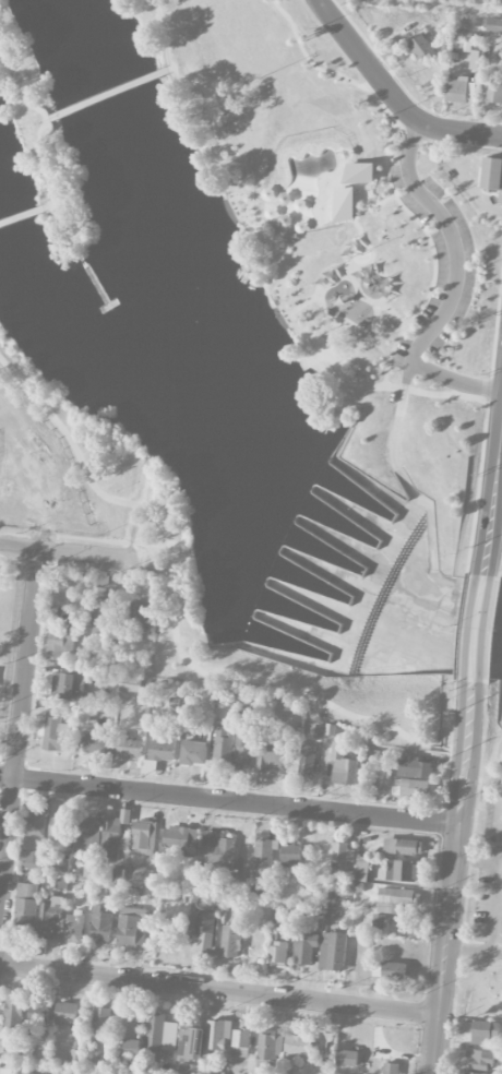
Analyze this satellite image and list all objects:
road: (441, 5)
building: (494, 25)
building: (421, 48)
building: (475, 59)
road: (312, 62)
road: (167, 68)
building: (459, 89)
road: (107, 92)
building: (494, 93)
road: (391, 96)
road: (49, 117)
road: (40, 142)
road: (398, 171)
building: (494, 174)
building: (344, 200)
road: (50, 205)
road: (22, 216)
road: (432, 244)
road: (277, 249)
parking lot: (457, 268)
pier: (94, 276)
road: (358, 293)
road: (422, 341)
park: (252, 343)
road: (455, 381)
road: (500, 479)
road: (493, 504)
road: (108, 539)
dam: (280, 549)
road: (67, 552)
building: (103, 582)
road: (176, 597)
building: (345, 597)
park: (482, 608)
building: (140, 614)
building: (103, 616)
road: (480, 629)
building: (60, 643)
road: (25, 664)
building: (132, 684)
building: (69, 685)
building: (186, 707)
building: (84, 715)
building: (56, 732)
road: (443, 737)
building: (92, 743)
building: (163, 743)
road: (426, 744)
building: (222, 745)
building: (129, 747)
building: (244, 750)
building: (270, 751)
building: (193, 752)
building: (306, 761)
building: (343, 766)
building: (148, 767)
building: (414, 767)
road: (7, 777)
road: (488, 778)
building: (501, 783)
building: (415, 788)
road: (236, 801)
road: (461, 811)
building: (57, 830)
building: (34, 831)
building: (88, 832)
road: (5, 834)
building: (112, 835)
building: (143, 837)
building: (179, 842)
building: (403, 846)
building: (217, 850)
building: (291, 854)
building: (340, 856)
building: (264, 857)
building: (32, 860)
road: (480, 861)
building: (62, 866)
road: (1, 869)
building: (403, 870)
building: (361, 871)
building: (140, 875)
building: (236, 879)
building: (60, 883)
building: (396, 899)
road: (491, 902)
building: (26, 908)
building: (51, 917)
building: (100, 926)
building: (132, 927)
building: (73, 928)
building: (202, 933)
building: (229, 941)
building: (251, 945)
building: (306, 947)
road: (466, 950)
building: (332, 952)
road: (494, 953)
building: (276, 954)
building: (389, 970)
road: (442, 981)
road: (219, 990)
building: (13, 1012)
building: (39, 1013)
building: (67, 1014)
building: (101, 1024)
building: (128, 1024)
building: (483, 1031)
building: (160, 1033)
building: (217, 1035)
building: (191, 1041)
building: (240, 1042)
road: (435, 1045)
building: (133, 1046)
building: (298, 1047)
building: (267, 1049)
building: (346, 1058)
building: (481, 1060)
building: (391, 1069)
building: (67, 1071)
building: (183, 1072)
building: (216, 1073)
building: (473, 1073)

